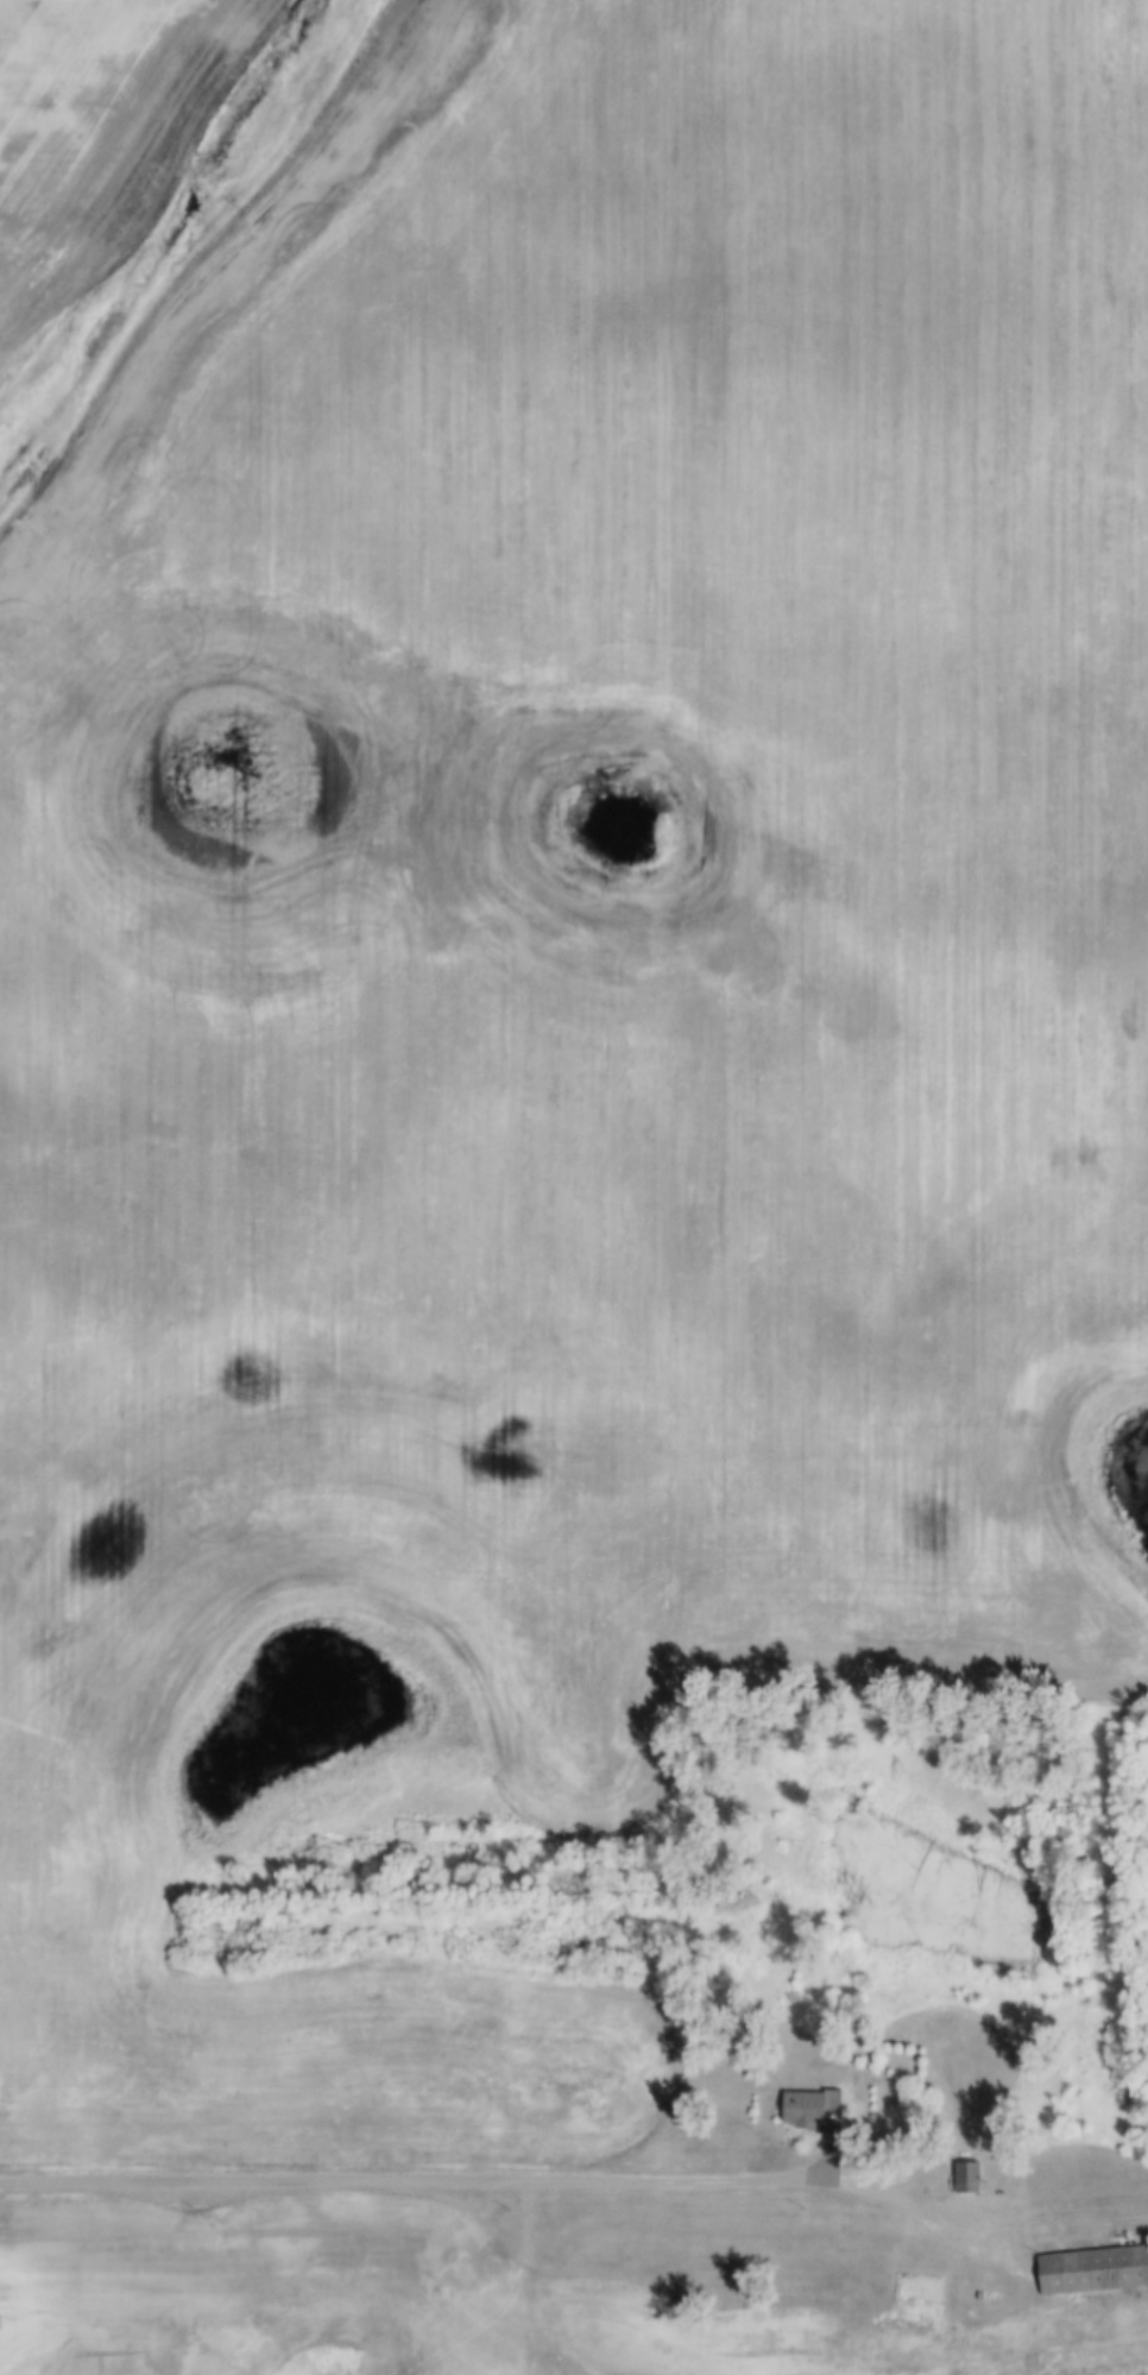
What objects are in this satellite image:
building: (484, 2066)
building: (805, 2109)
building: (967, 2179)
road: (446, 2180)
building: (1091, 2269)

